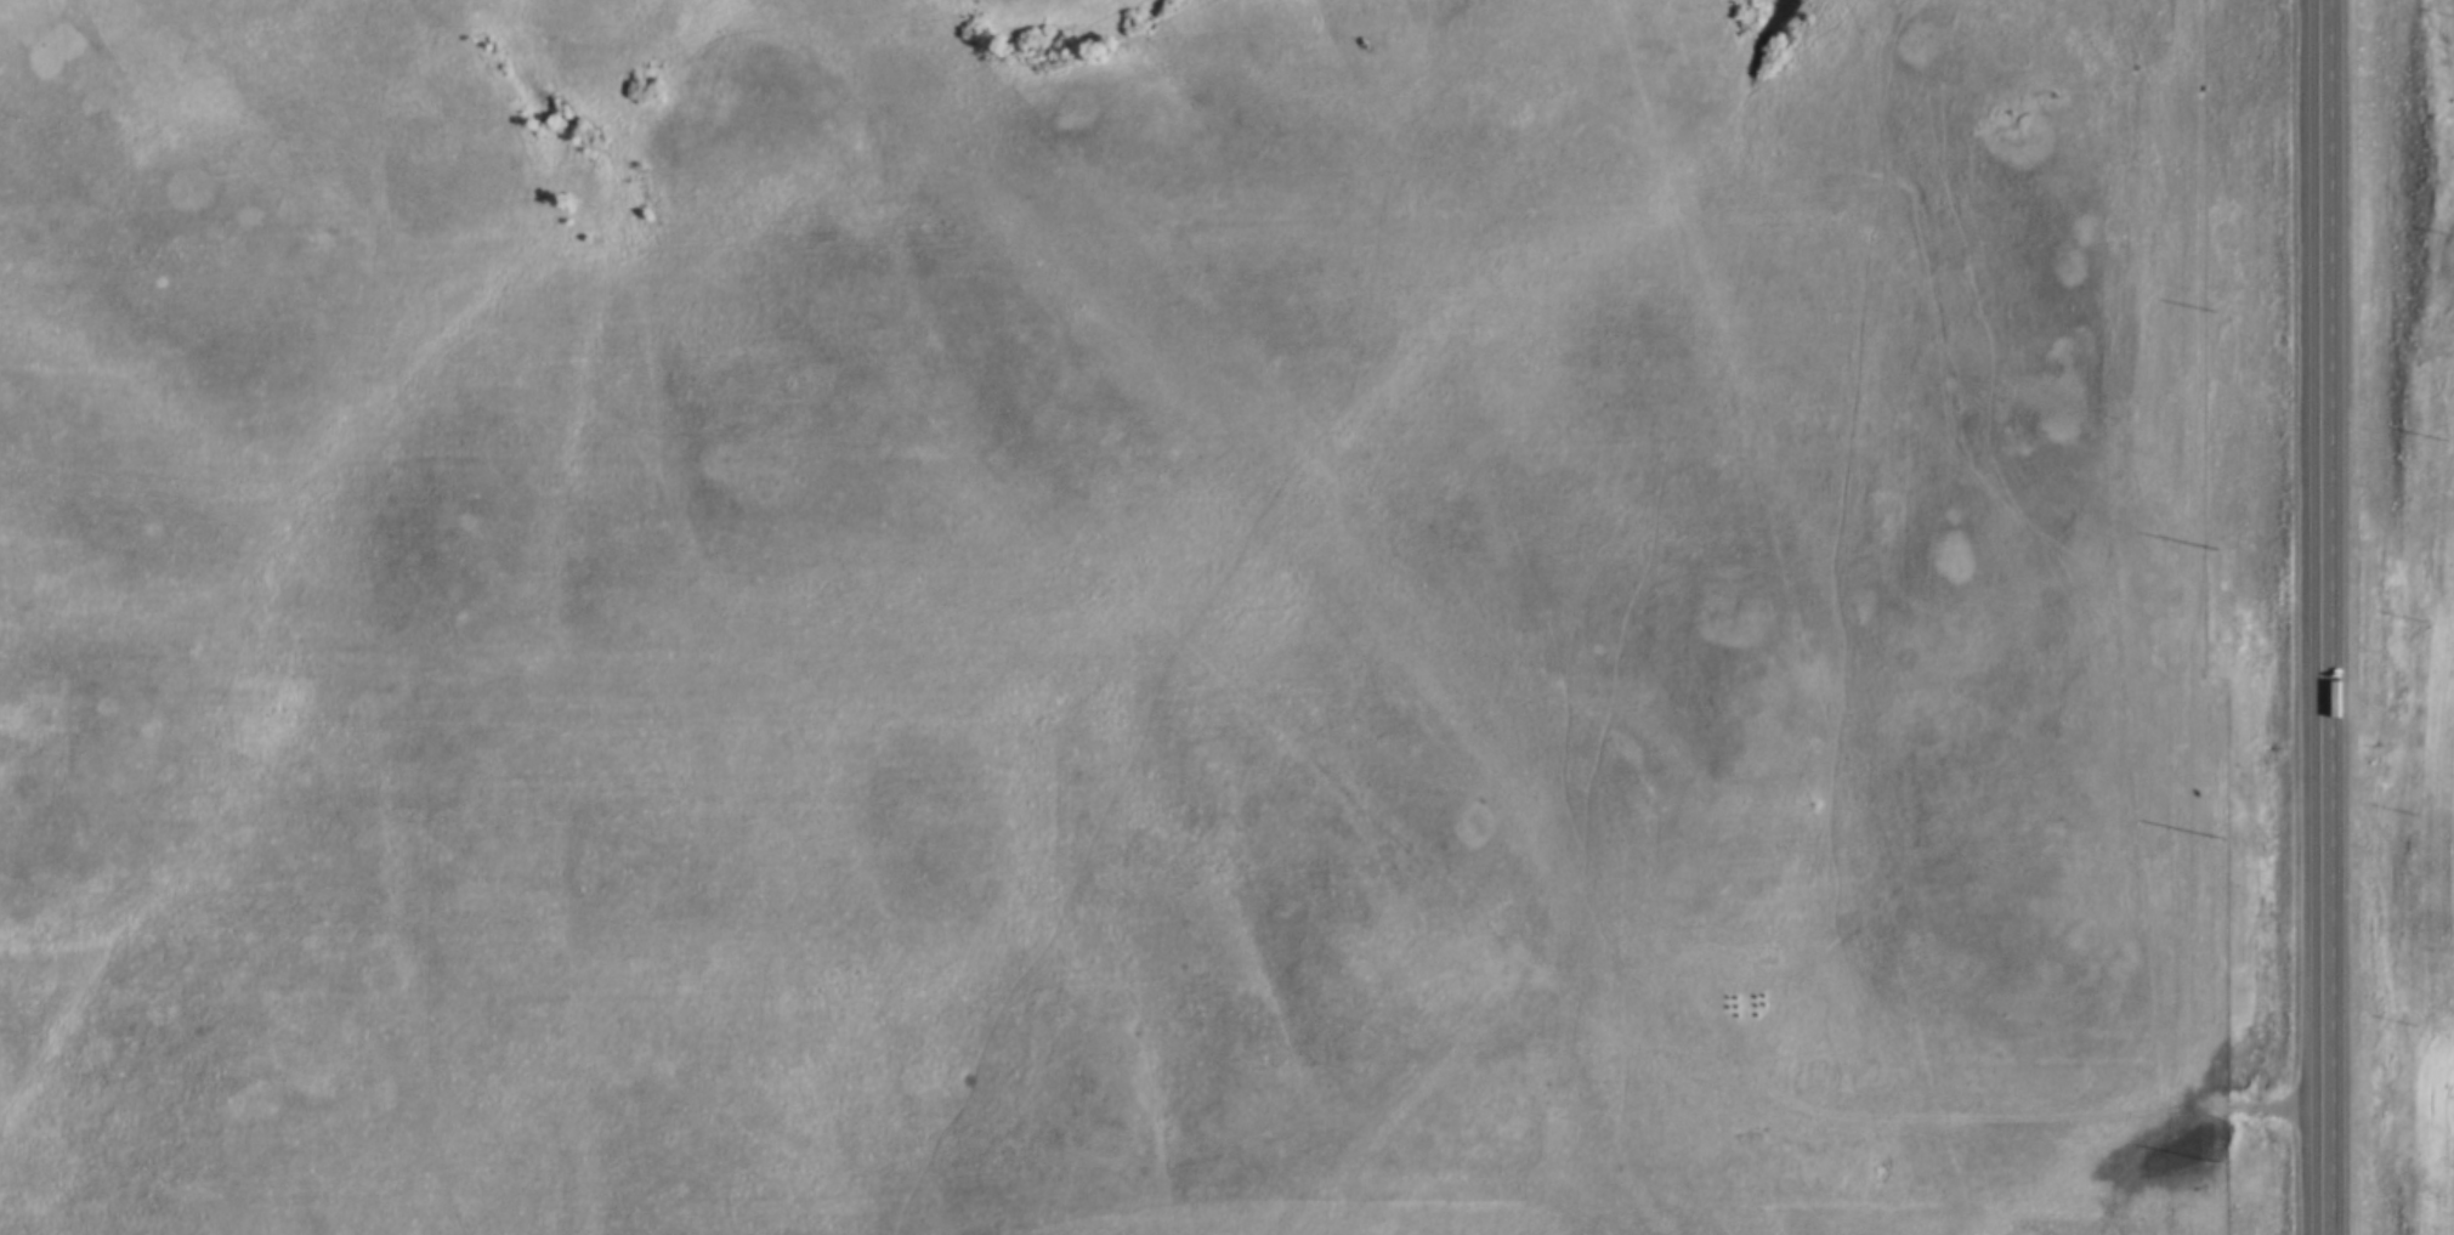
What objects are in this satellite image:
road: (2323, 617)
road: (2140, 1053)

